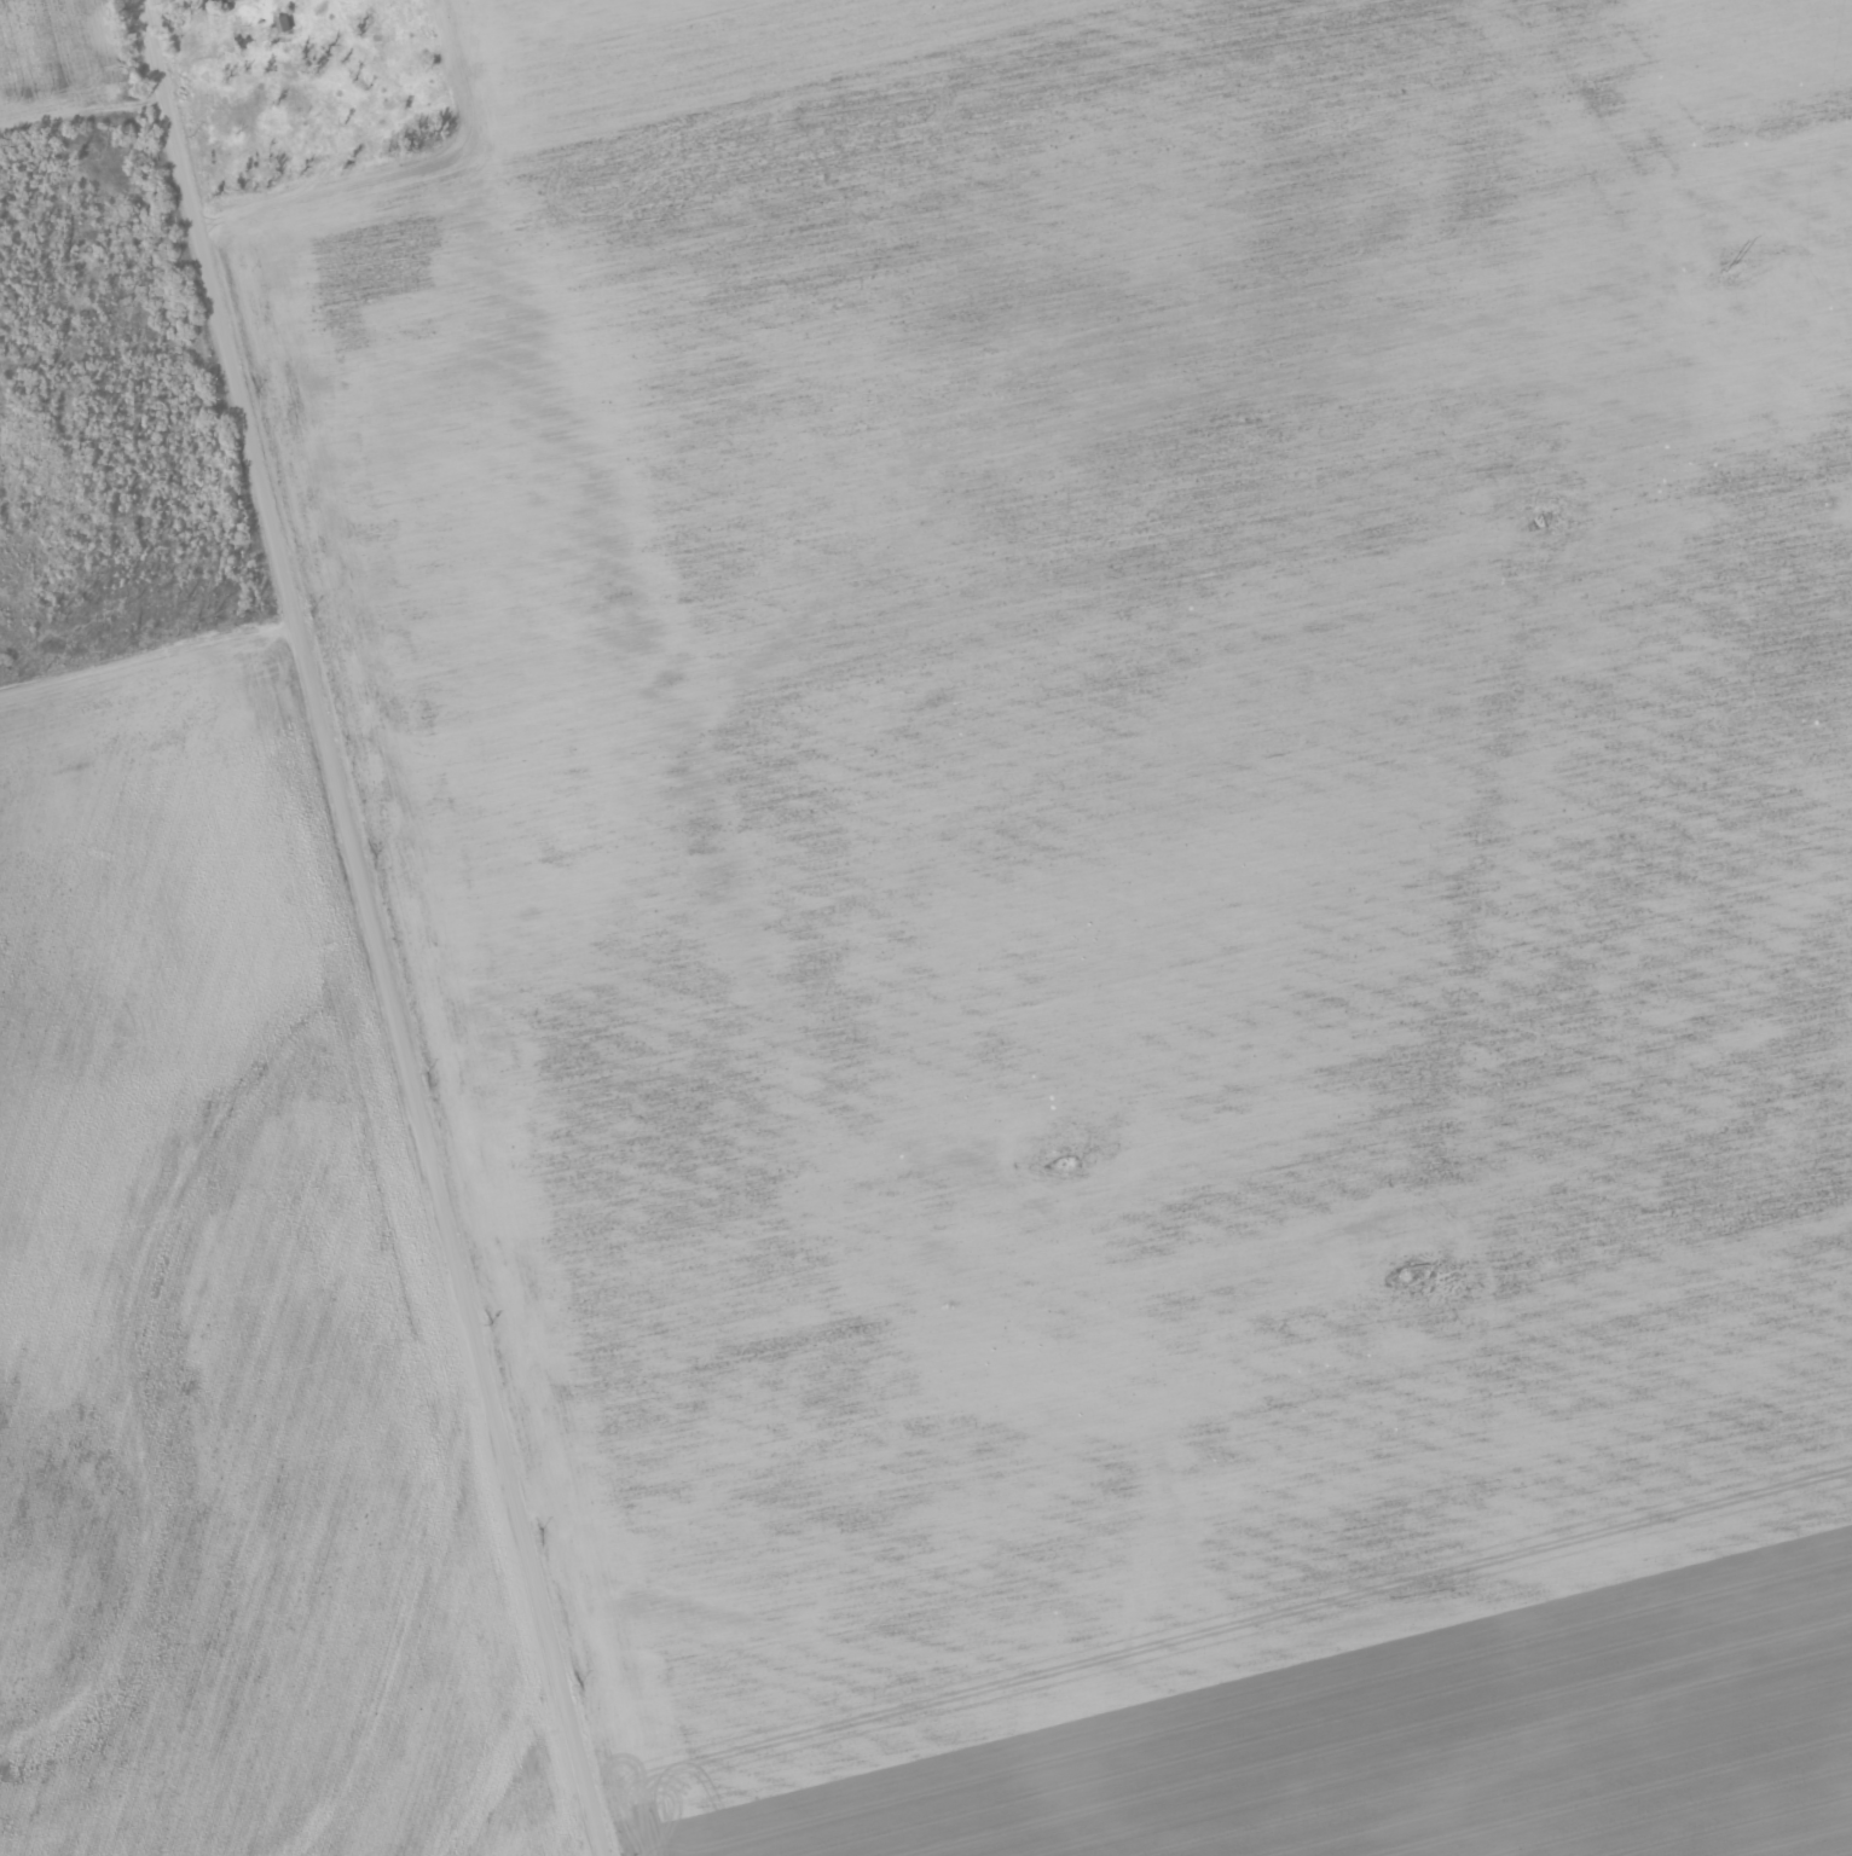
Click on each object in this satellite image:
road: (147, 57)
road: (83, 127)
power tower: (1730, 269)
road: (382, 985)

